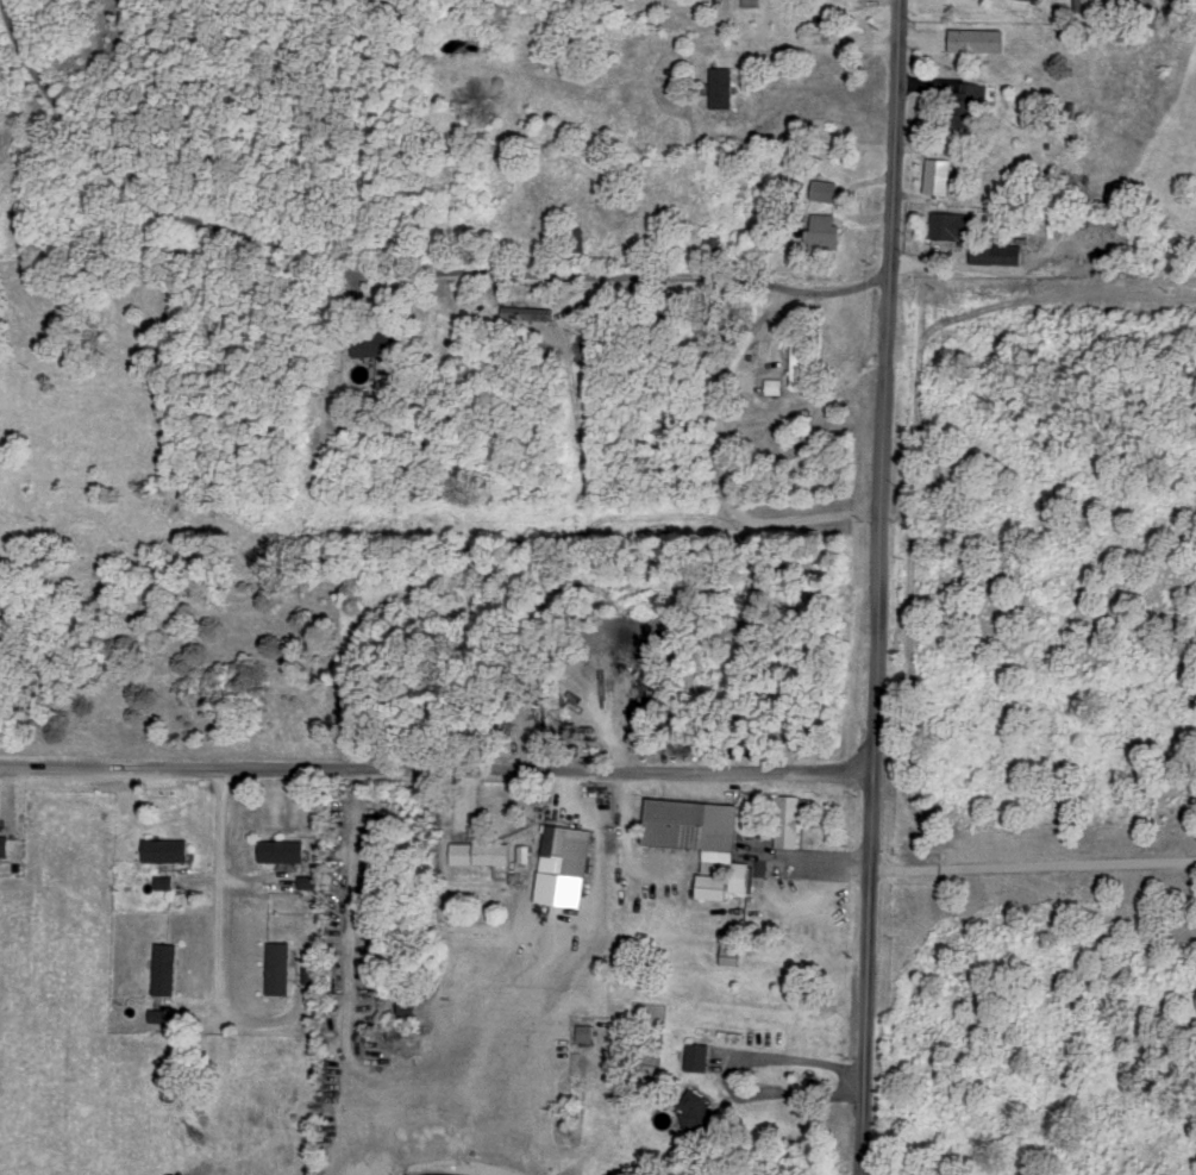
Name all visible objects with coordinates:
building: (746, 2)
building: (970, 39)
road: (822, 49)
building: (716, 86)
building: (966, 101)
building: (934, 174)
building: (819, 188)
building: (948, 224)
building: (818, 230)
building: (993, 251)
road: (383, 273)
building: (381, 342)
building: (776, 383)
road: (716, 465)
road: (875, 587)
road: (434, 770)
building: (789, 817)
building: (705, 839)
building: (5, 844)
building: (167, 848)
building: (282, 848)
building: (524, 851)
building: (483, 852)
road: (807, 861)
building: (566, 863)
road: (1031, 865)
building: (164, 880)
building: (307, 880)
road: (217, 887)
building: (731, 952)
building: (281, 965)
building: (168, 968)
building: (311, 973)
building: (162, 1014)
building: (588, 1031)
building: (700, 1055)
road: (775, 1062)
building: (701, 1110)

